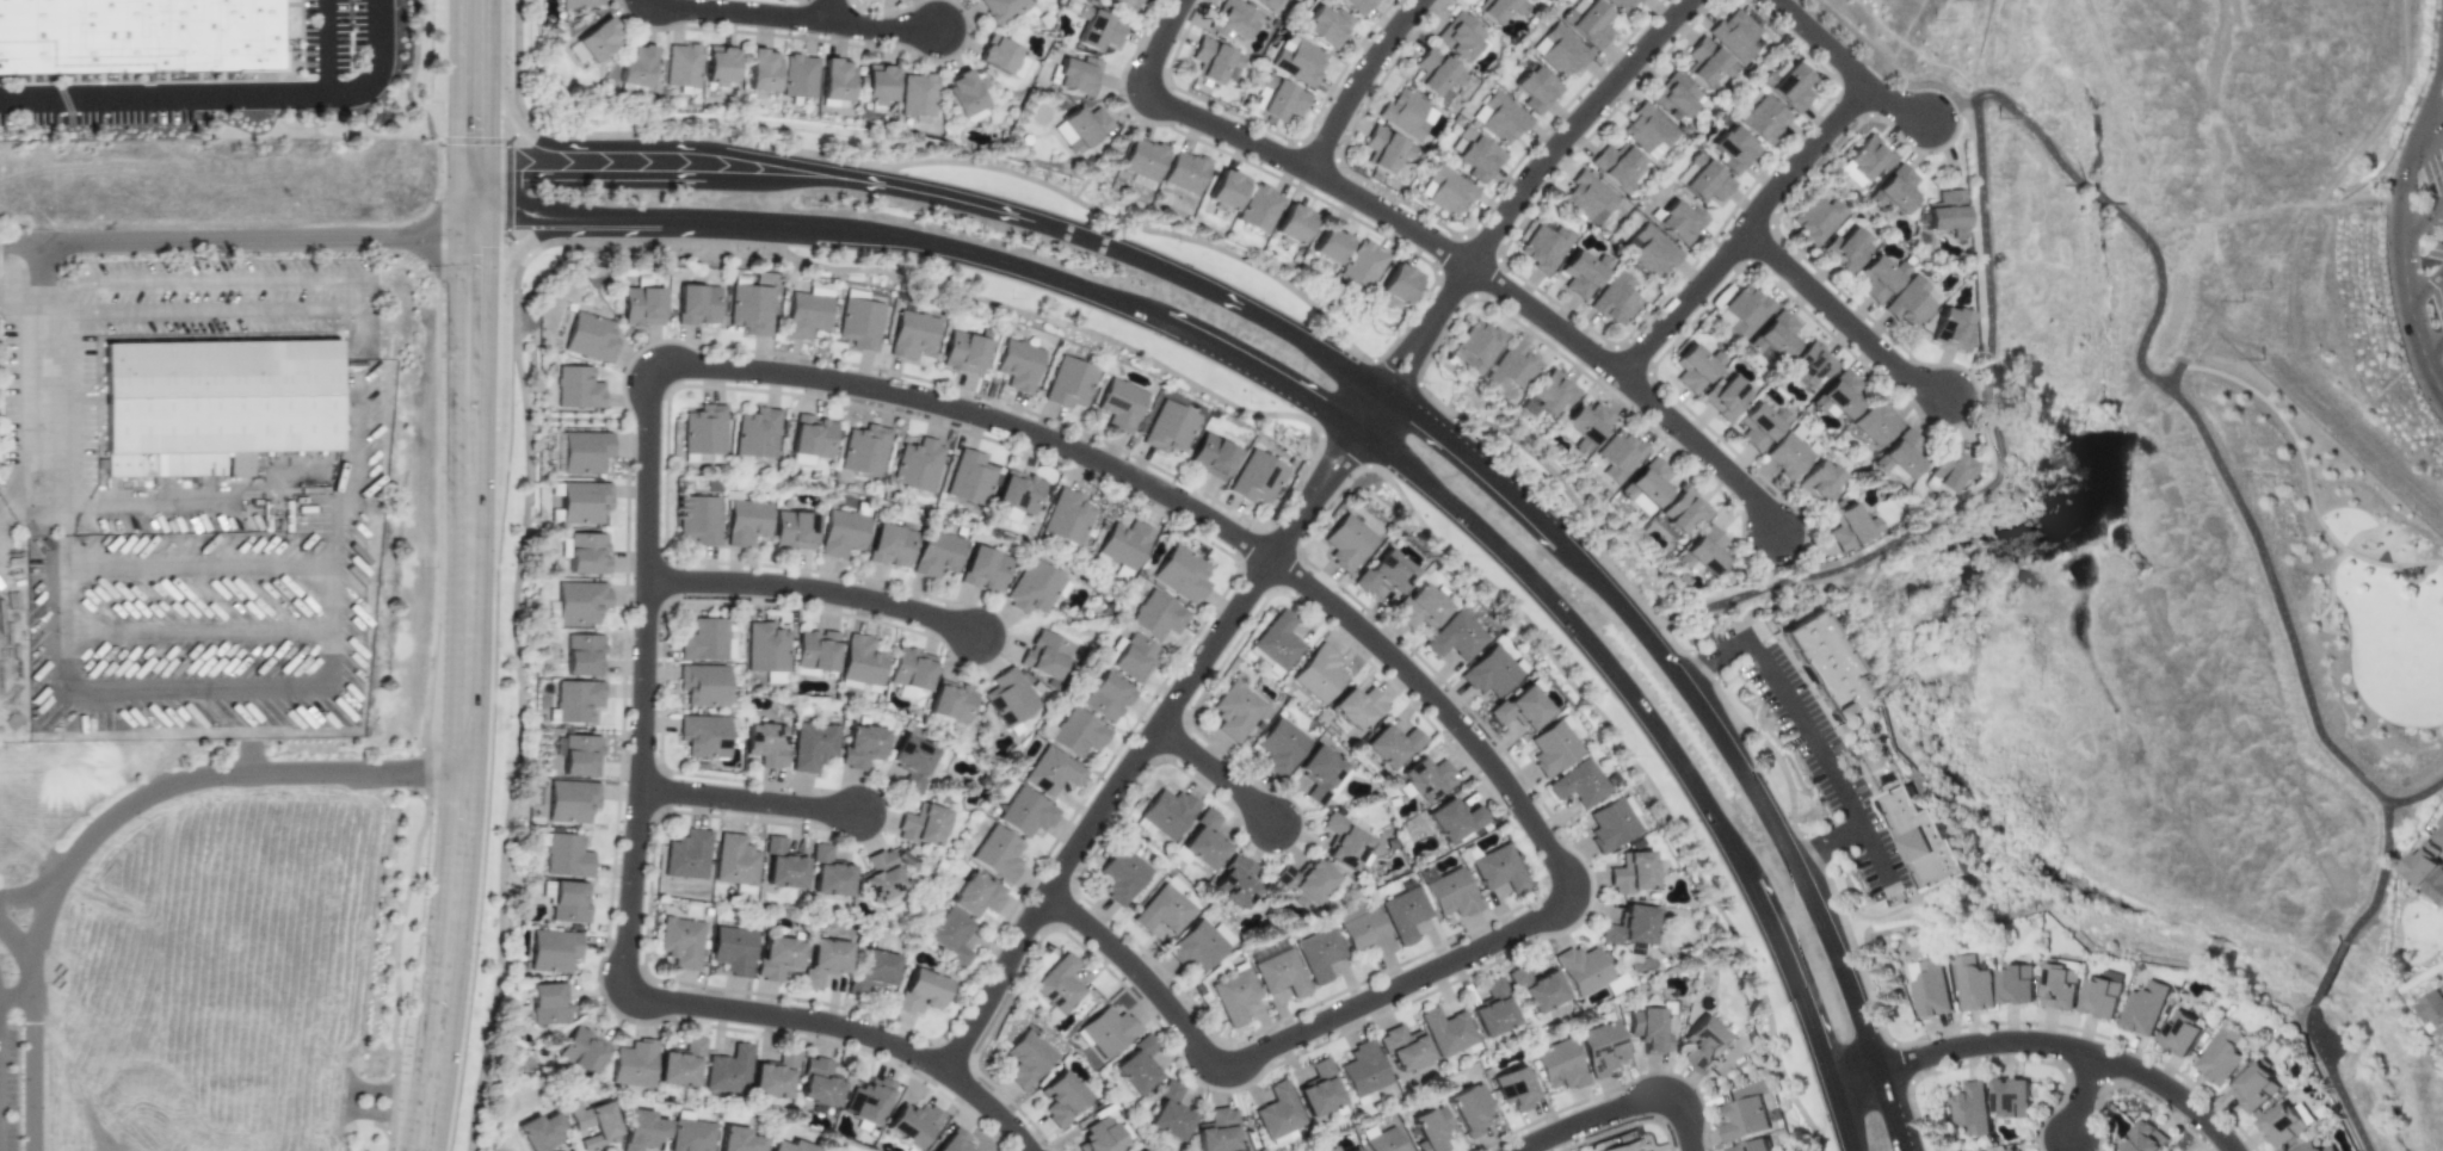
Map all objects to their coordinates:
building: (1530, 0)
building: (1265, 2)
building: (578, 4)
building: (1127, 4)
building: (1358, 5)
building: (1621, 5)
road: (831, 7)
street lamp: (425, 8)
building: (1001, 8)
building: (1498, 8)
road: (742, 11)
building: (1232, 19)
building: (1587, 21)
road: (888, 23)
building: (1326, 25)
building: (1097, 29)
building: (1738, 32)
building: (138, 37)
building: (1460, 37)
building: (598, 38)
road: (1820, 39)
road: (323, 47)
road: (1155, 47)
building: (1559, 50)
building: (998, 54)
building: (1298, 60)
building: (1214, 61)
building: (1707, 62)
building: (637, 64)
building: (683, 64)
building: (720, 64)
road: (1876, 64)
building: (1018, 67)
building: (761, 70)
building: (1435, 72)
building: (1078, 75)
building: (800, 76)
road: (1361, 81)
building: (835, 82)
building: (878, 83)
road: (488, 87)
building: (1791, 87)
road: (455, 88)
building: (1534, 88)
road: (232, 94)
building: (918, 94)
building: (964, 97)
building: (1676, 98)
building: (1278, 99)
road: (1900, 99)
road: (1954, 110)
building: (1407, 113)
building: (1499, 117)
building: (1765, 119)
building: (1080, 128)
road: (2031, 128)
traffic signals: (455, 129)
building: (1648, 130)
road: (526, 132)
street lamp: (439, 143)
road: (2427, 147)
street lamp: (505, 148)
building: (1734, 148)
building: (1383, 149)
building: (1475, 155)
building: (1867, 157)
building: (1142, 162)
building: (1616, 165)
road: (1544, 166)
road: (1314, 169)
traffic signals: (522, 172)
road: (591, 172)
building: (1184, 172)
building: (1702, 180)
building: (1226, 188)
building: (1896, 188)
building: (1445, 191)
road: (2096, 196)
building: (1588, 198)
building: (1258, 209)
building: (1947, 212)
road: (2424, 217)
building: (1816, 218)
building: (1679, 222)
building: (1293, 223)
road: (1747, 230)
street lamp: (502, 233)
traffic signals: (411, 239)
road: (227, 241)
road: (2405, 243)
building: (1330, 246)
building: (1544, 247)
building: (1846, 248)
building: (1652, 250)
road: (516, 255)
traffic signals: (473, 264)
building: (1363, 265)
street lamp: (422, 267)
building: (1583, 273)
building: (1876, 279)
road: (2427, 283)
building: (1398, 285)
building: (818, 290)
road: (18, 296)
building: (1615, 299)
building: (1912, 302)
building: (697, 304)
building: (642, 305)
building: (751, 309)
building: (1744, 311)
building: (804, 315)
road: (1846, 318)
building: (859, 323)
building: (1951, 329)
building: (912, 334)
building: (1775, 335)
building: (590, 338)
building: (1477, 346)
road: (2435, 347)
building: (963, 353)
road: (668, 358)
building: (1810, 364)
building: (1018, 365)
building: (1513, 365)
building: (1692, 367)
road: (1386, 370)
road: (2172, 376)
road: (1401, 379)
building: (1069, 383)
building: (578, 388)
road: (1635, 390)
building: (1840, 392)
building: (1548, 394)
building: (222, 397)
road: (1966, 398)
building: (1121, 404)
road: (33, 417)
building: (1875, 422)
street lamp: (531, 425)
building: (1585, 425)
building: (1759, 426)
building: (1168, 428)
road: (1334, 428)
building: (704, 429)
building: (757, 433)
building: (812, 437)
road: (1339, 440)
road: (1355, 447)
building: (864, 450)
building: (585, 451)
road: (1477, 452)
building: (1788, 453)
building: (1904, 453)
building: (1620, 454)
building: (701, 457)
building: (1211, 457)
building: (802, 460)
building: (918, 465)
building: (1947, 471)
road: (470, 472)
road: (2307, 476)
building: (970, 477)
building: (1256, 477)
building: (1819, 478)
road: (1998, 479)
building: (1647, 485)
building: (1018, 491)
building: (584, 503)
building: (1684, 510)
building: (1066, 516)
building: (698, 520)
building: (746, 521)
building: (1850, 527)
building: (794, 530)
building: (841, 533)
building: (1124, 543)
building: (1346, 543)
building: (889, 545)
building: (1704, 551)
building: (586, 553)
building: (936, 553)
park: (2337, 565)
road: (2265, 568)
road: (199, 569)
building: (983, 569)
street lamp: (2387, 569)
street lamp: (421, 570)
building: (1384, 573)
building: (1180, 574)
road: (2328, 578)
road: (816, 594)
park: (2441, 599)
building: (579, 601)
building: (1420, 606)
building: (1158, 615)
road: (199, 631)
building: (1456, 636)
building: (704, 639)
building: (1277, 642)
building: (765, 648)
building: (814, 652)
road: (332, 654)
building: (582, 654)
building: (1043, 655)
building: (1130, 656)
building: (860, 661)
building: (1822, 666)
building: (908, 672)
building: (1491, 672)
building: (1319, 673)
building: (775, 677)
building: (702, 685)
building: (857, 686)
building: (1007, 697)
building: (1105, 697)
building: (576, 699)
building: (950, 701)
building: (1358, 706)
building: (1522, 706)
building: (1234, 711)
street lamp: (510, 718)
road: (1808, 728)
building: (1076, 734)
building: (703, 736)
building: (765, 744)
building: (1279, 744)
building: (1392, 744)
building: (859, 745)
building: (1554, 745)
building: (810, 747)
building: (578, 755)
road: (251, 757)
building: (909, 762)
road: (1129, 769)
building: (1050, 772)
building: (1321, 773)
road: (1216, 775)
road: (192, 778)
building: (1425, 778)
building: (1579, 784)
street lamp: (321, 787)
street lamp: (405, 788)
street lamp: (220, 790)
road: (2416, 794)
building: (570, 800)
road: (752, 800)
building: (1024, 812)
building: (1166, 812)
street lamp: (136, 818)
building: (1454, 819)
building: (1614, 822)
building: (920, 825)
building: (2438, 835)
building: (1201, 840)
building: (1923, 840)
building: (1344, 841)
road: (1833, 844)
building: (995, 854)
building: (686, 855)
building: (566, 856)
building: (734, 860)
building: (2422, 864)
street lamp: (420, 866)
building: (781, 866)
building: (1497, 868)
building: (1631, 871)
building: (828, 873)
building: (1119, 874)
building: (878, 878)
building: (1303, 881)
building: (1234, 883)
building: (2436, 887)
road: (468, 889)
building: (1448, 891)
building: (975, 895)
road: (26, 896)
building: (565, 901)
street lamp: (80, 910)
building: (1161, 910)
building: (1405, 911)
building: (1629, 927)
building: (1362, 929)
building: (949, 936)
building: (680, 941)
road: (1487, 942)
building: (1199, 943)
building: (730, 949)
building: (553, 951)
building: (1318, 952)
building: (776, 958)
road: (431, 960)
building: (822, 960)
building: (1580, 969)
building: (1278, 970)
building: (871, 971)
street lamp: (7, 974)
road: (2330, 974)
building: (1973, 983)
building: (1059, 984)
building: (2017, 984)
building: (2061, 985)
building: (1929, 986)
building: (1535, 988)
road: (17, 990)
building: (1233, 990)
building: (920, 991)
building: (2103, 995)
building: (548, 1003)
building: (2145, 1007)
building: (1493, 1008)
street lamp: (486, 1009)
building: (2433, 1010)
building: (1647, 1027)
road: (846, 1029)
building: (1445, 1029)
building: (1106, 1031)
road: (32, 1032)
building: (2182, 1032)
street lamp: (396, 1036)
building: (1704, 1042)
road: (2040, 1042)
building: (1600, 1045)
building: (1401, 1047)
building: (581, 1050)
building: (2222, 1053)
building: (1028, 1057)
building: (1557, 1063)
building: (633, 1064)
building: (679, 1064)
building: (1136, 1065)
building: (727, 1070)
building: (1362, 1070)
road: (1747, 1072)
building: (772, 1077)
road: (2333, 1078)
road: (446, 1079)
street lamp: (20, 1081)
building: (818, 1083)
building: (2254, 1087)
building: (1513, 1088)
building: (1320, 1089)
road: (370, 1093)
street lamp: (1921, 1095)
building: (1061, 1097)
road: (2084, 1097)
building: (2011, 1099)
building: (866, 1101)
road: (1622, 1106)
building: (1972, 1107)
building: (1469, 1108)
building: (1168, 1112)
building: (1278, 1112)
road: (378, 1115)
building: (1744, 1118)
building: (592, 1122)
building: (912, 1124)
building: (2282, 1124)
building: (1430, 1127)
building: (641, 1130)
building: (1217, 1131)
building: (538, 1132)
building: (690, 1135)
building: (1099, 1135)
building: (2143, 1137)
building: (736, 1139)
building: (1381, 1139)
building: (954, 1141)
building: (1754, 1145)
building: (789, 1146)
building: (1624, 1146)
building: (2314, 1146)
building: (1327, 1147)
building: (1351, 1149)
building: (2011, 1149)
building: (1653, 1150)

